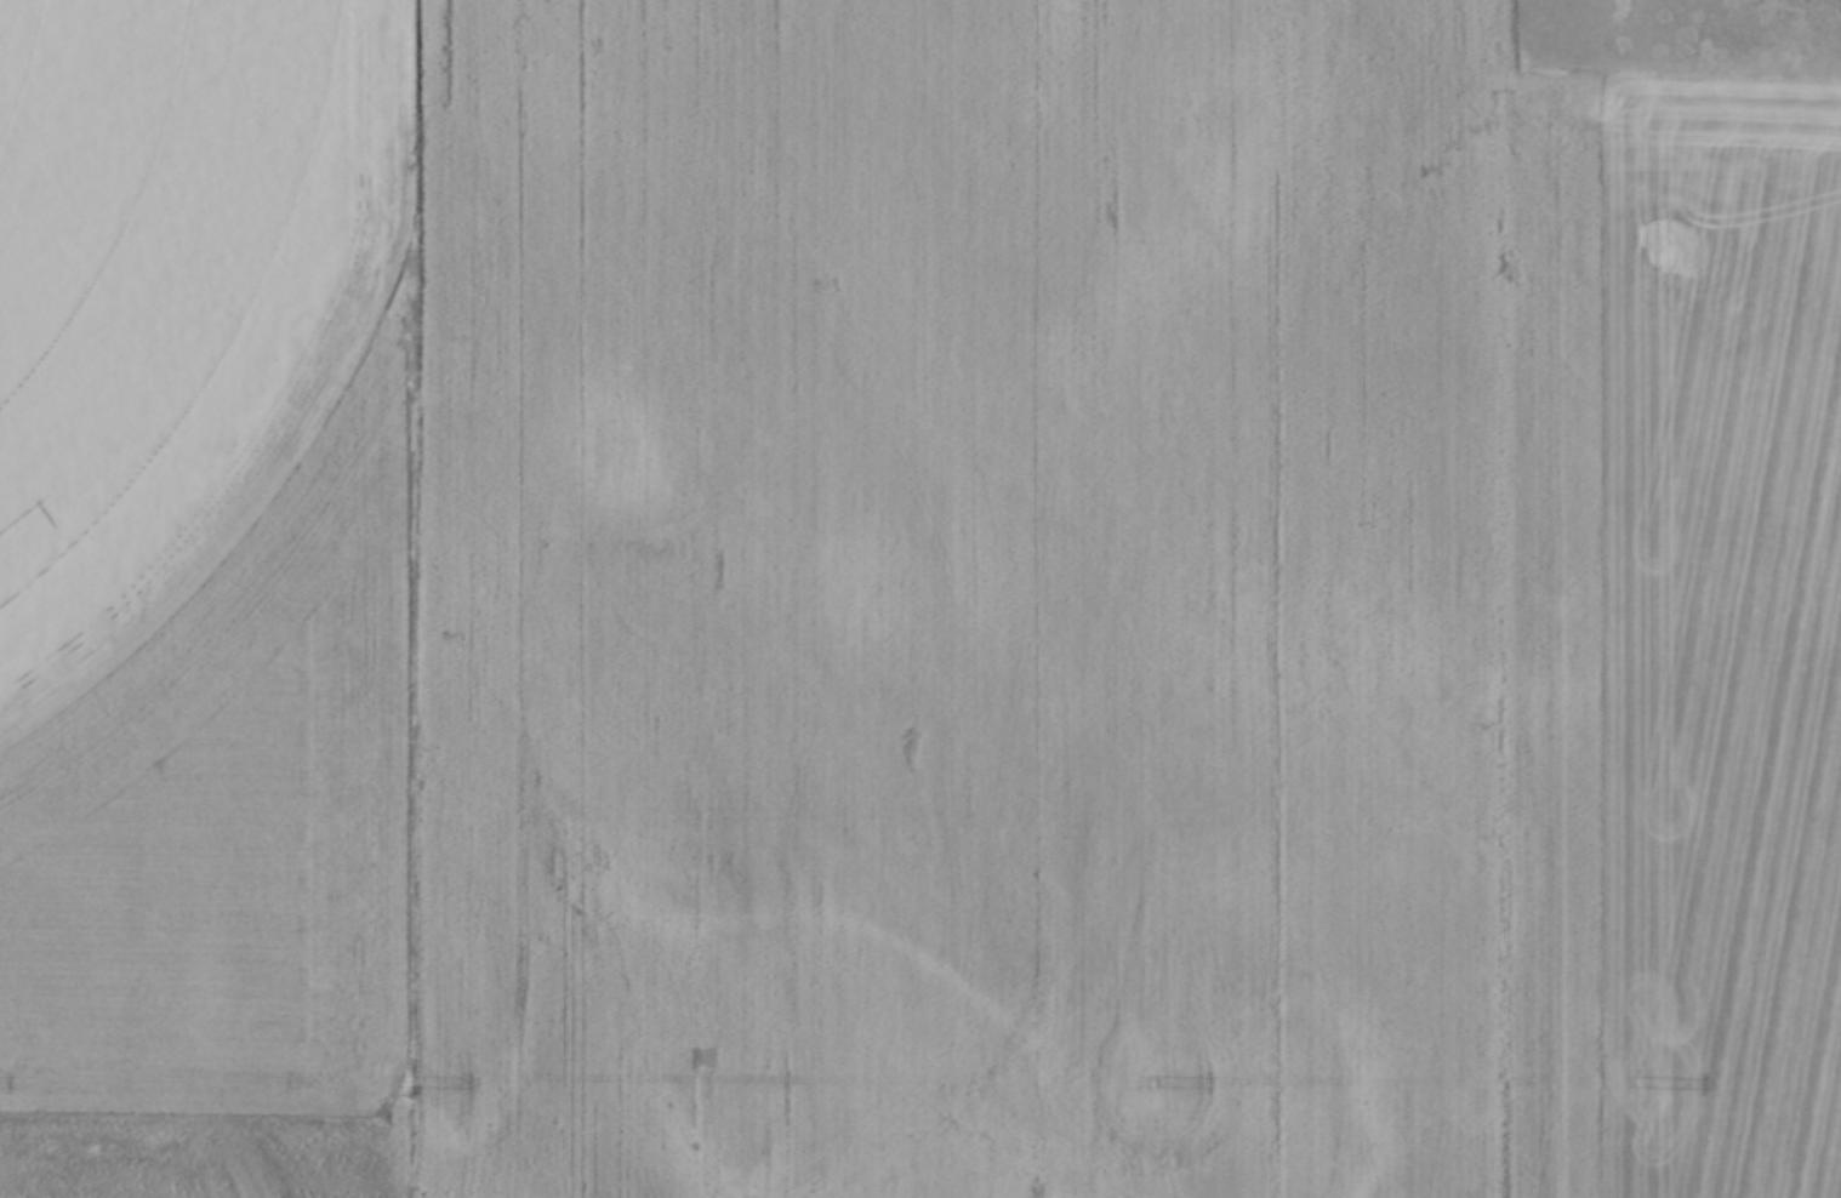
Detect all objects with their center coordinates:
power tower: (1637, 1079)
power tower: (1152, 1080)
power tower: (407, 1083)

